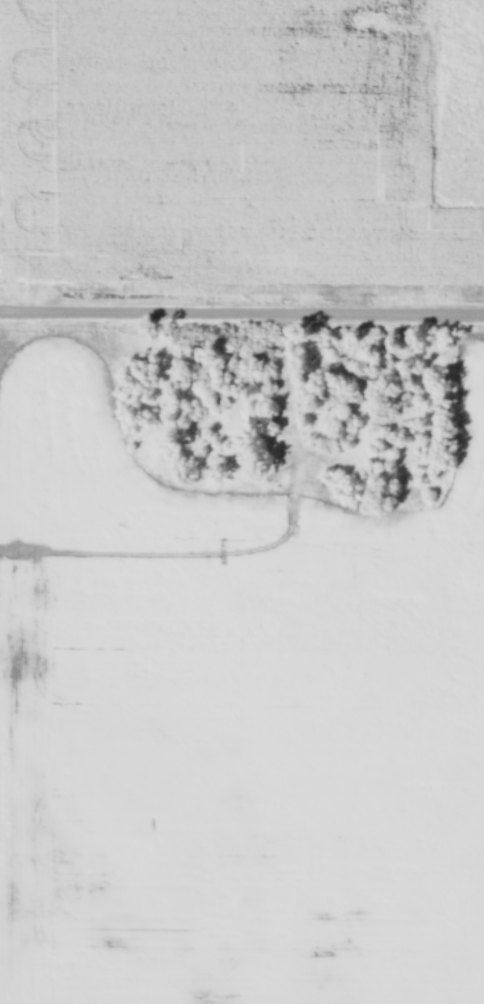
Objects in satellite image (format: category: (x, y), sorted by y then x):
road: (242, 313)
building: (265, 418)
building: (346, 426)

